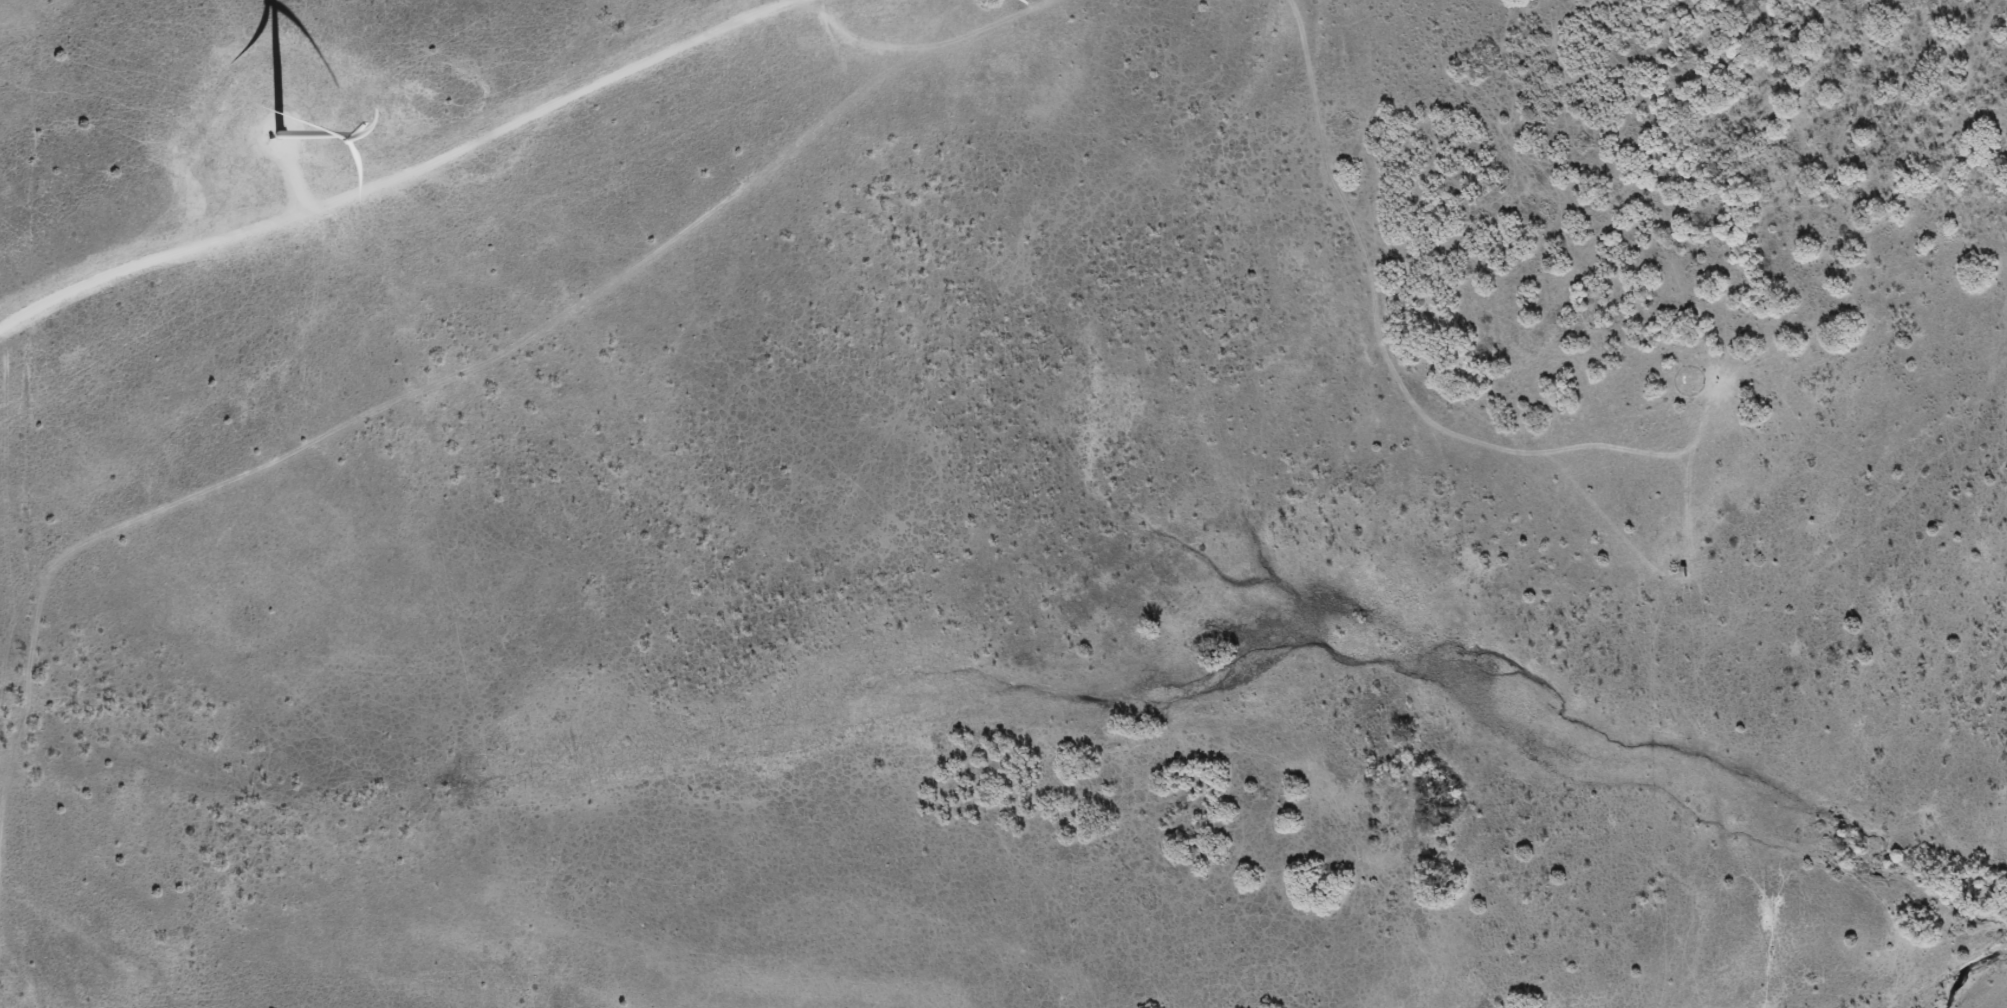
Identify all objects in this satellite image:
wind turbine: (279, 132)
road: (399, 167)

